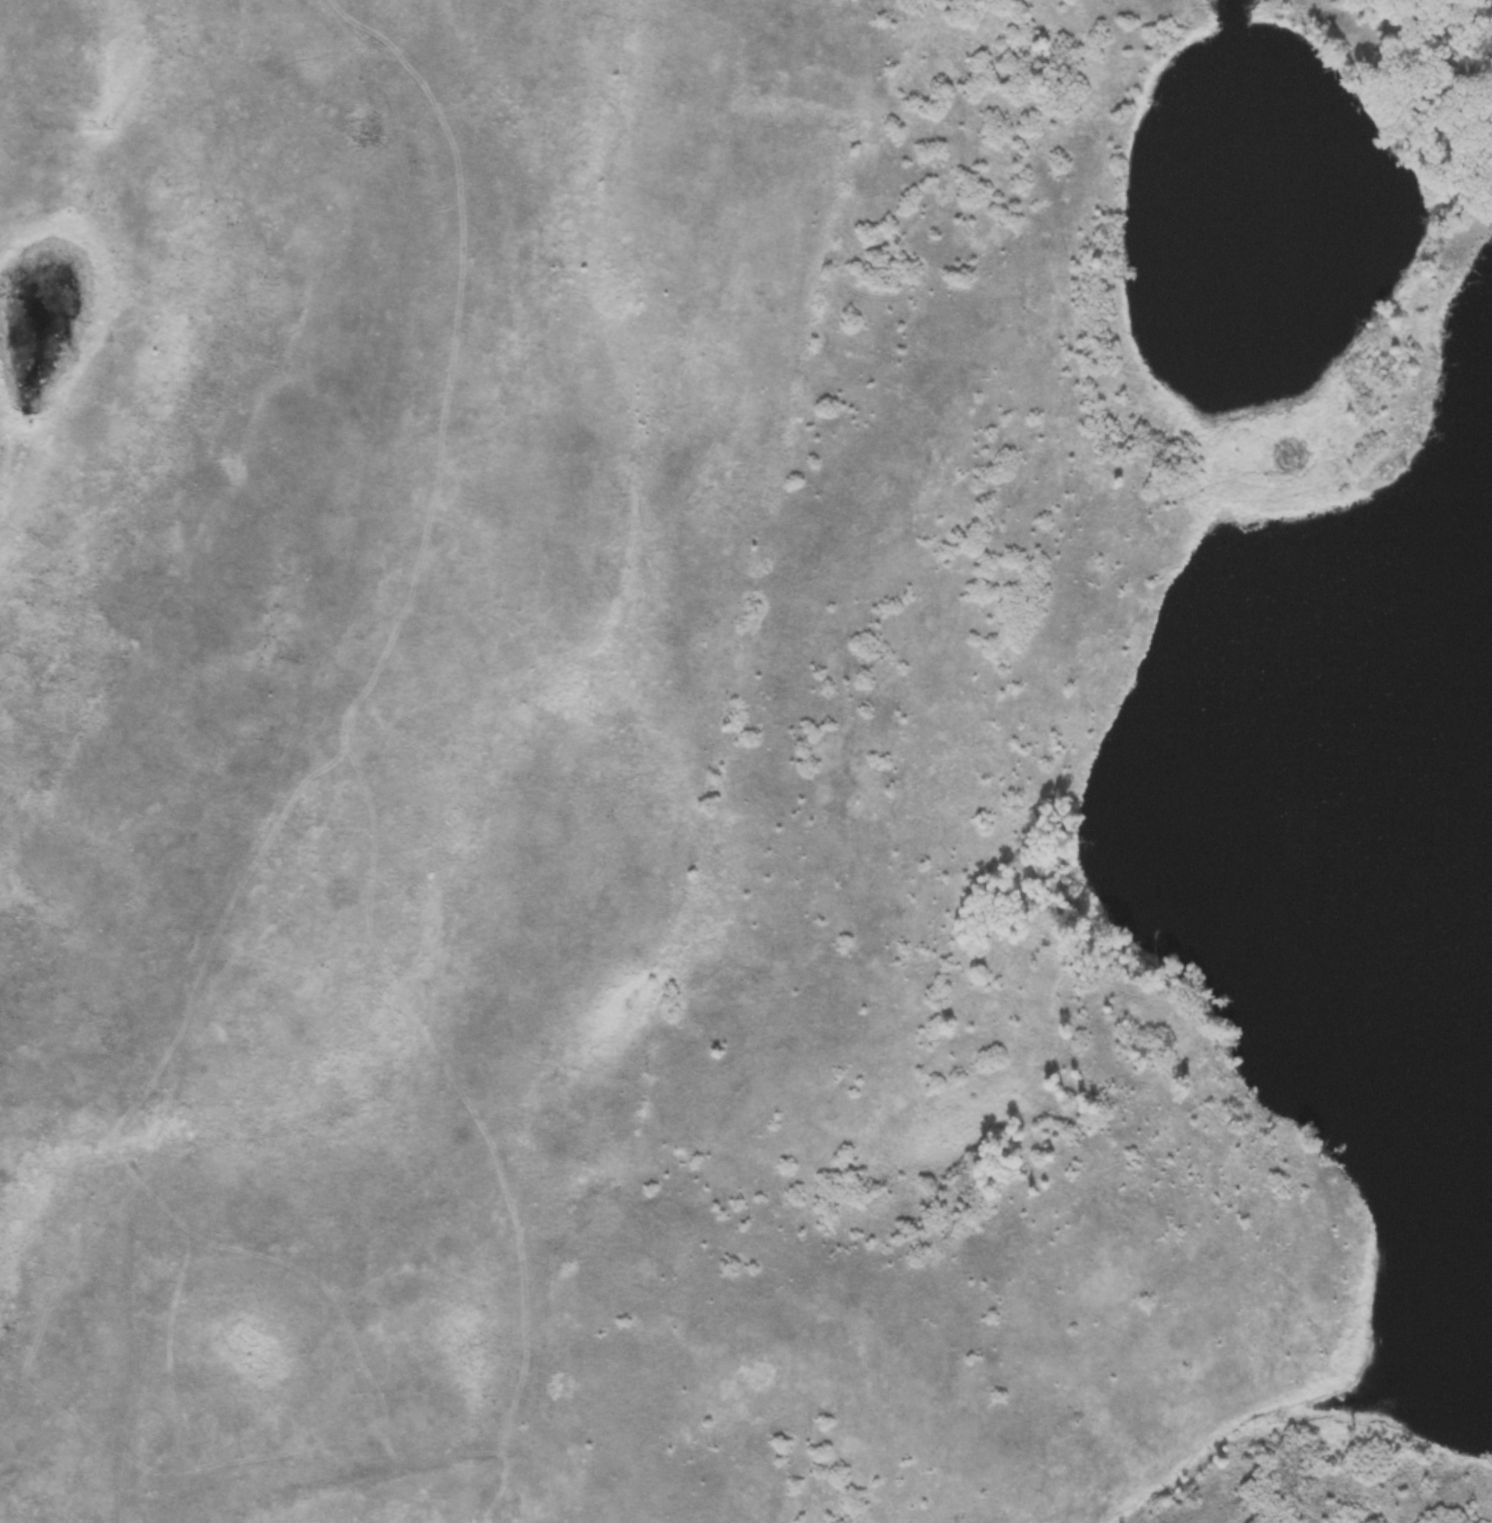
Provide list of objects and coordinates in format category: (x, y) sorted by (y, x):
road: (290, 757)

